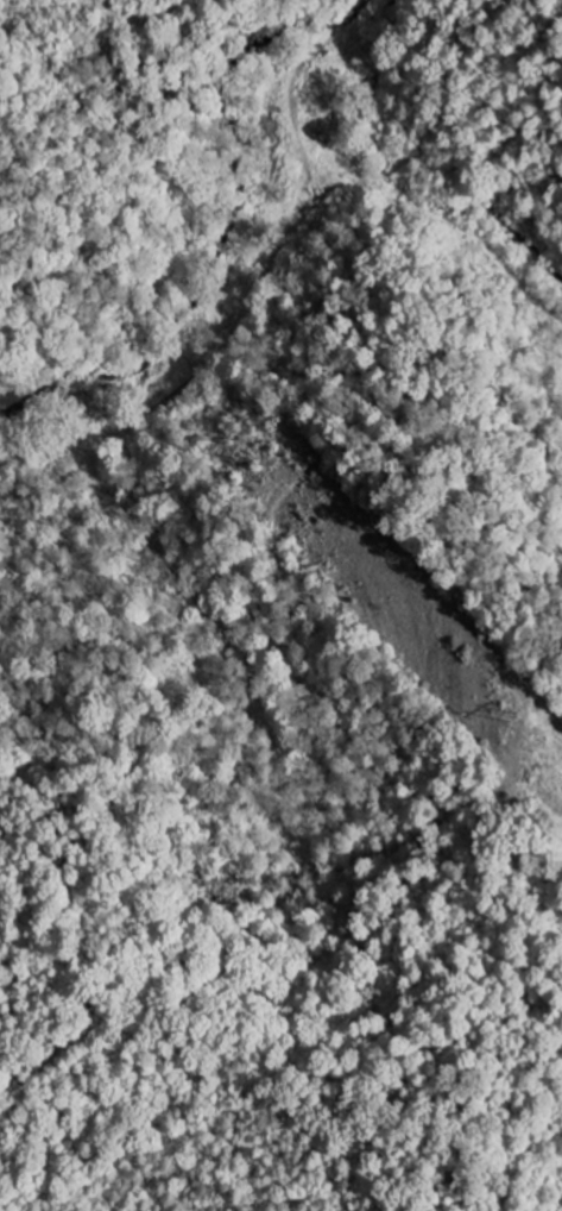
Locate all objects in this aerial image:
road: (253, 302)
power tower: (523, 719)

